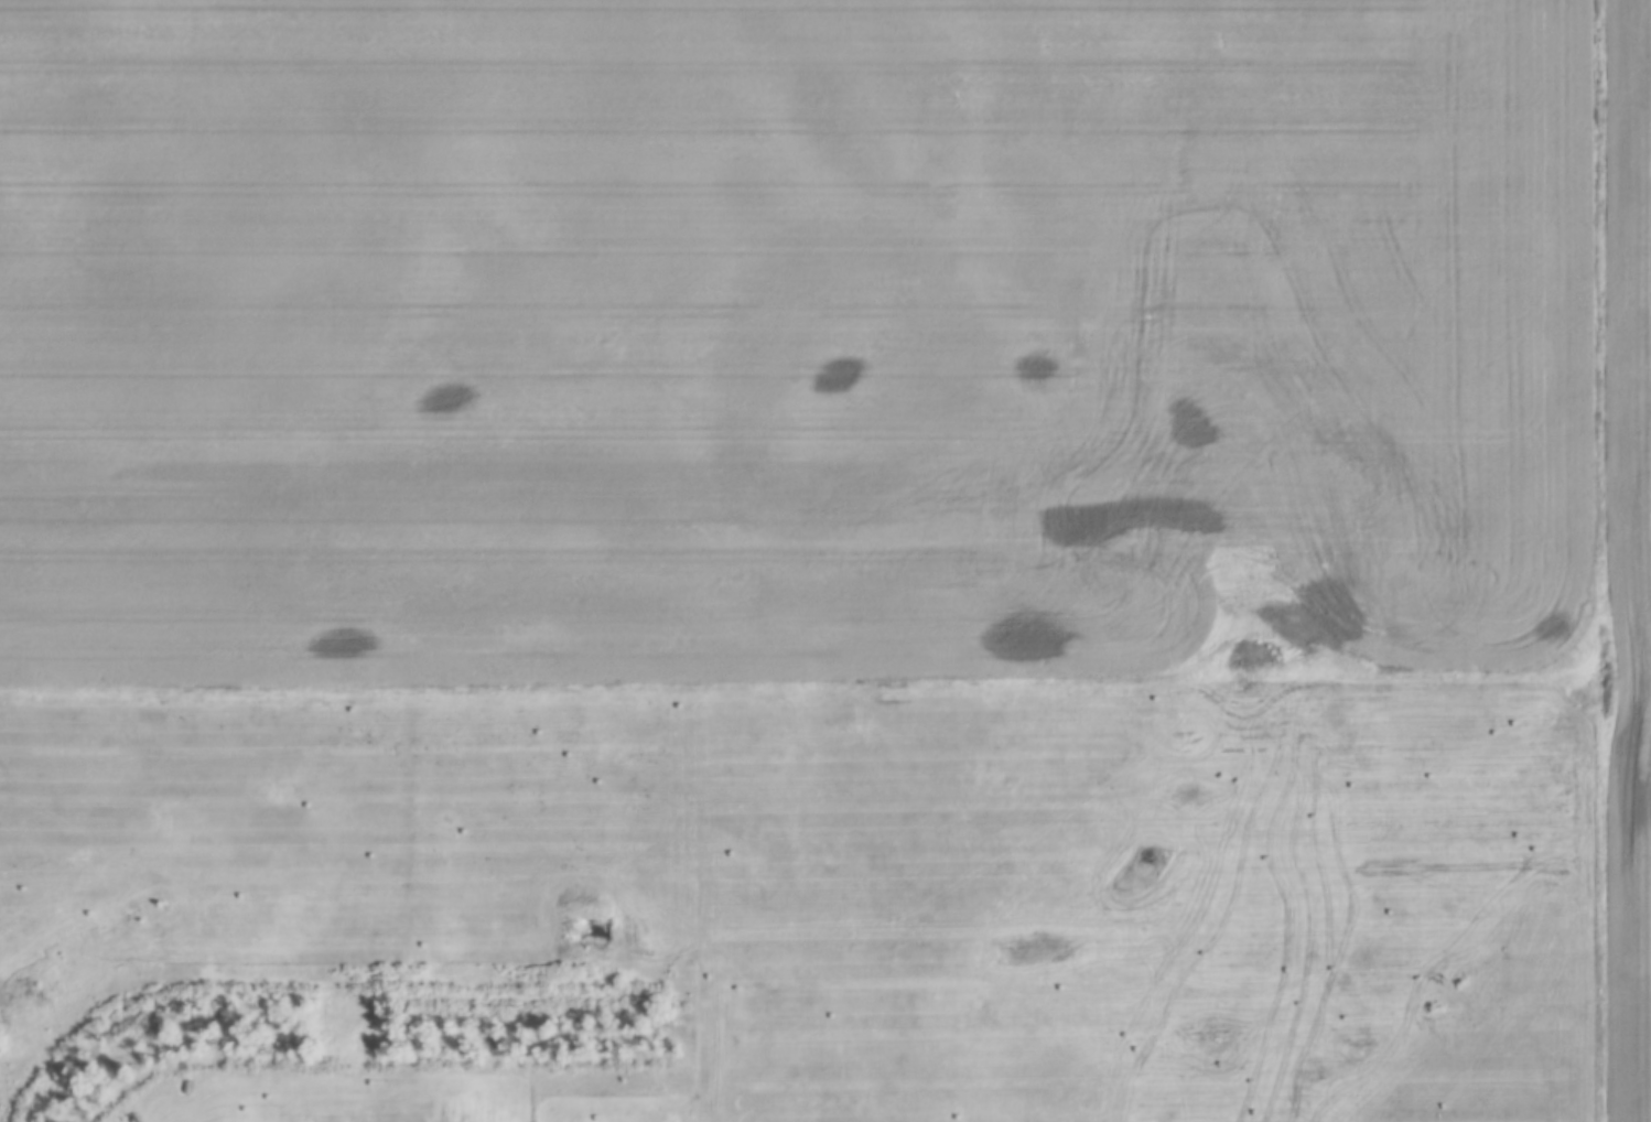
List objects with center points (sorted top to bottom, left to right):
building: (175, 1102)

